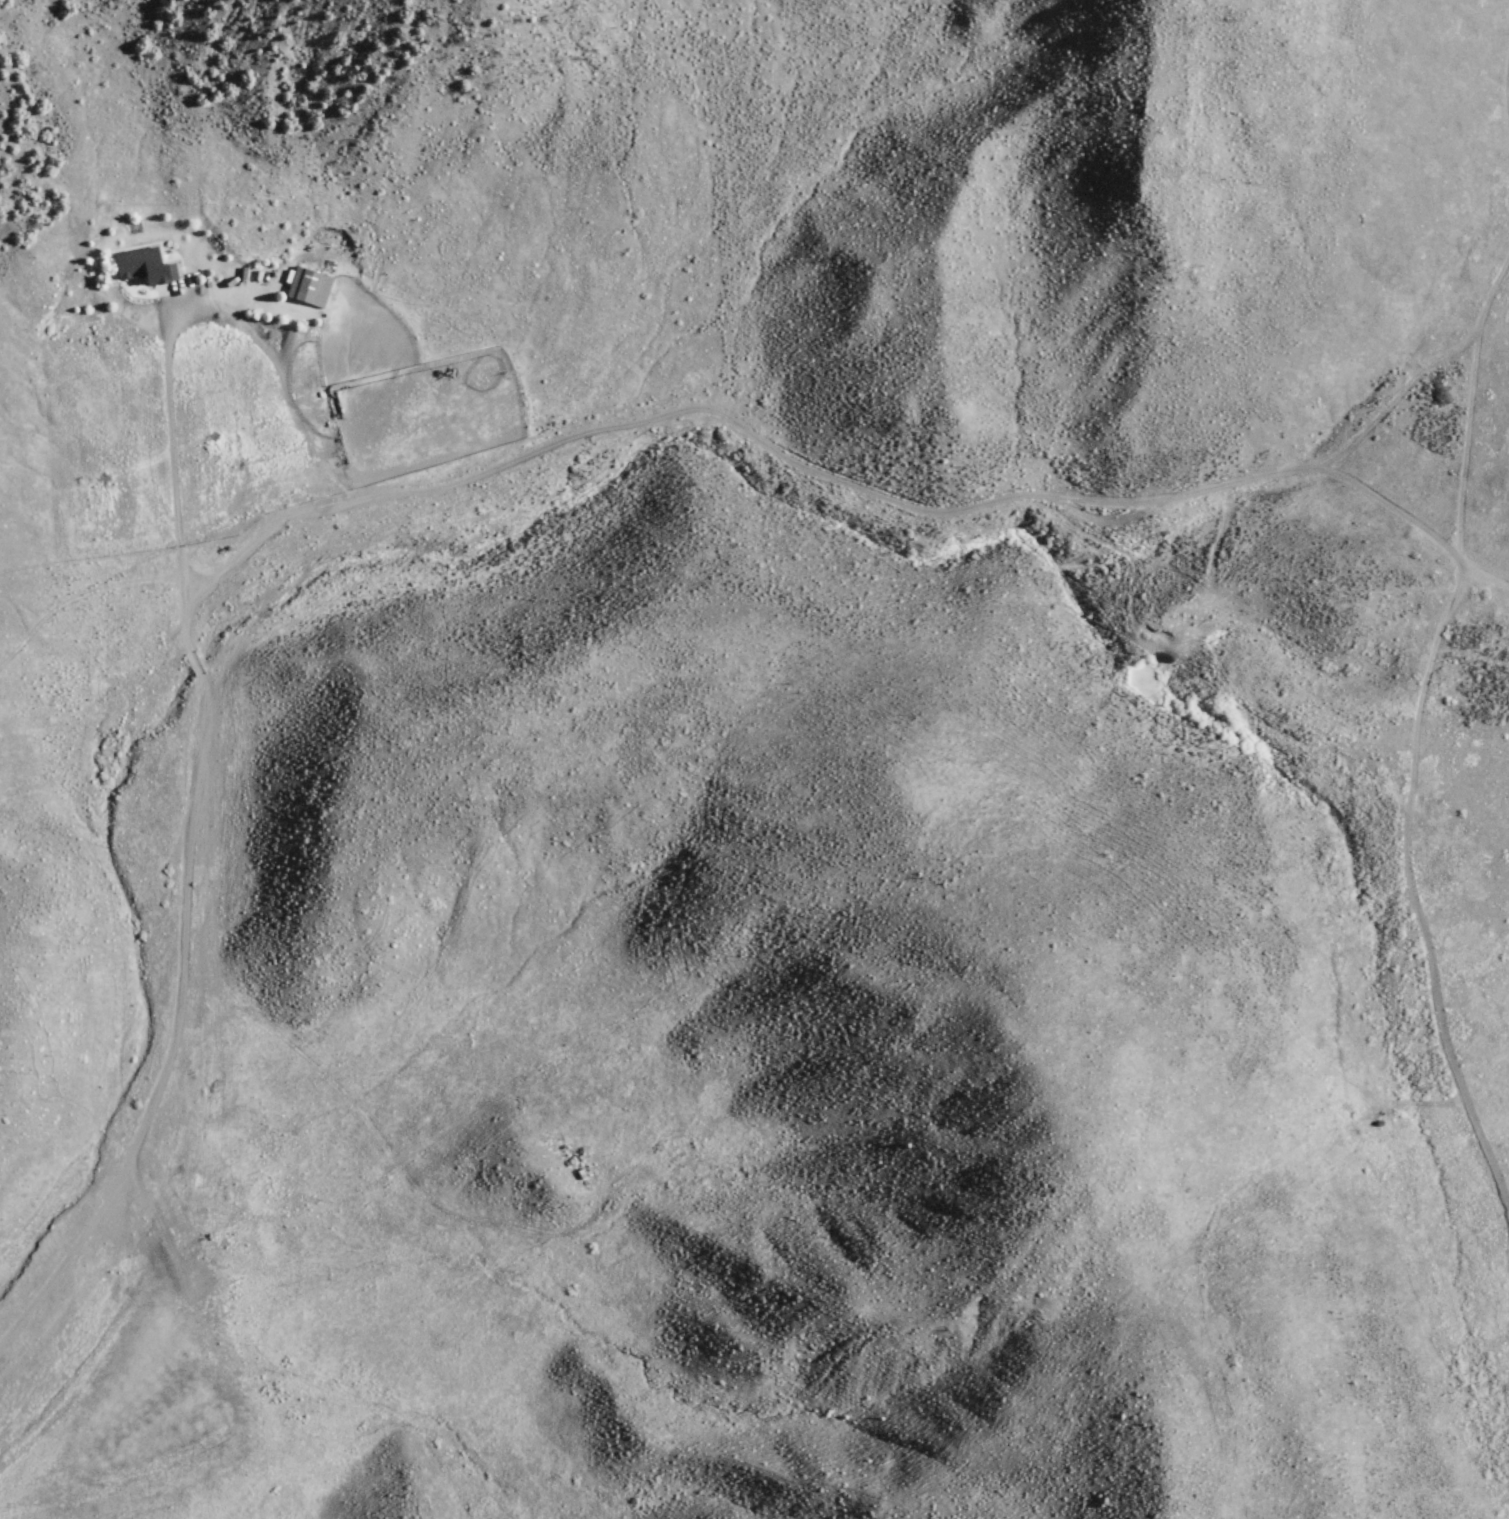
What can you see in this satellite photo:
building: (144, 266)
road: (170, 465)
road: (449, 487)
road: (1415, 521)
road: (93, 589)
crop: (1305, 755)
road: (1420, 769)
crop: (283, 1281)

